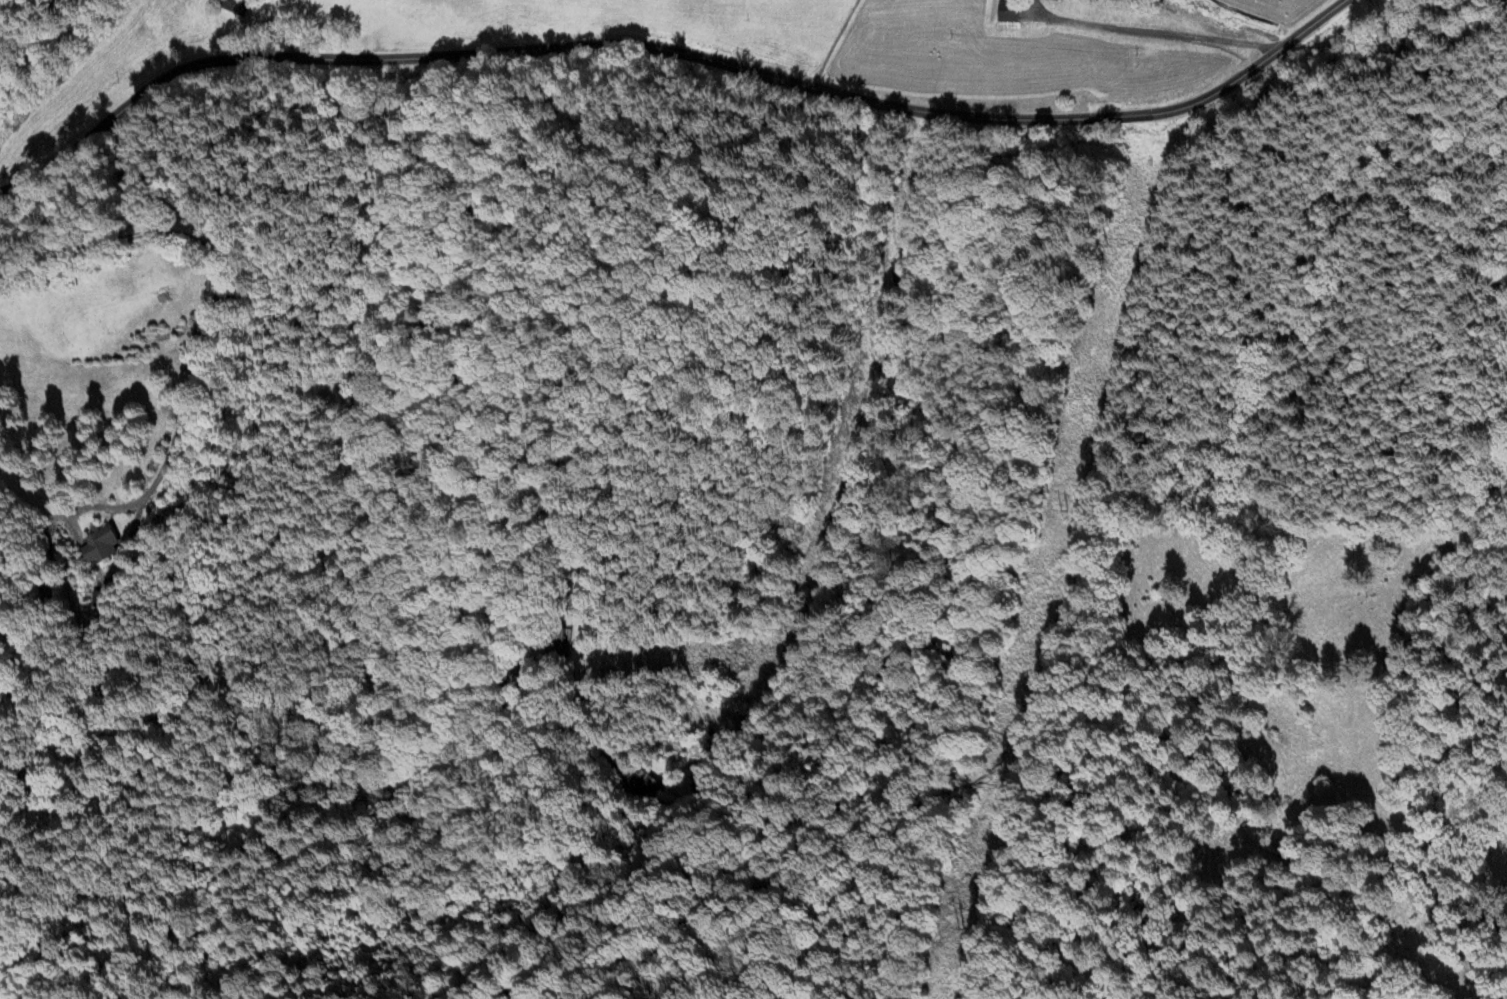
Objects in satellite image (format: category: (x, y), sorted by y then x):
building: (238, 6)
building: (1008, 11)
road: (1153, 32)
road: (1301, 33)
road: (618, 47)
building: (565, 641)
building: (644, 785)

